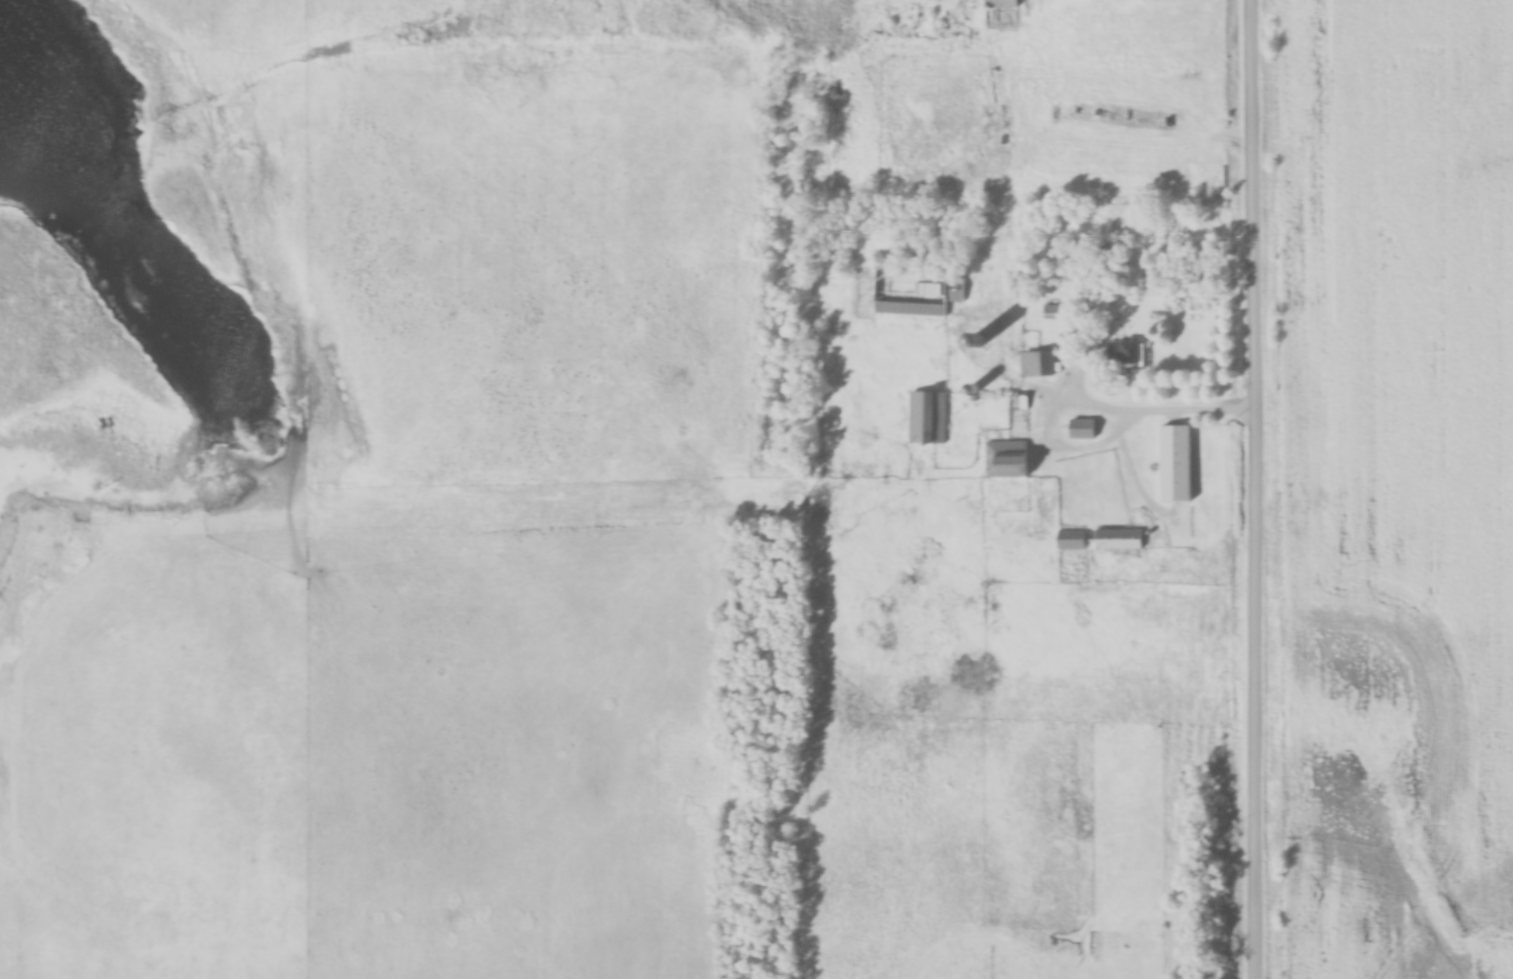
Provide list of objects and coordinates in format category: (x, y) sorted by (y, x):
building: (997, 9)
building: (1052, 312)
building: (980, 341)
building: (1128, 354)
building: (1037, 364)
road: (1090, 400)
building: (928, 417)
building: (1083, 428)
building: (1007, 458)
building: (1177, 462)
road: (1261, 489)
building: (1072, 538)
building: (1119, 538)

